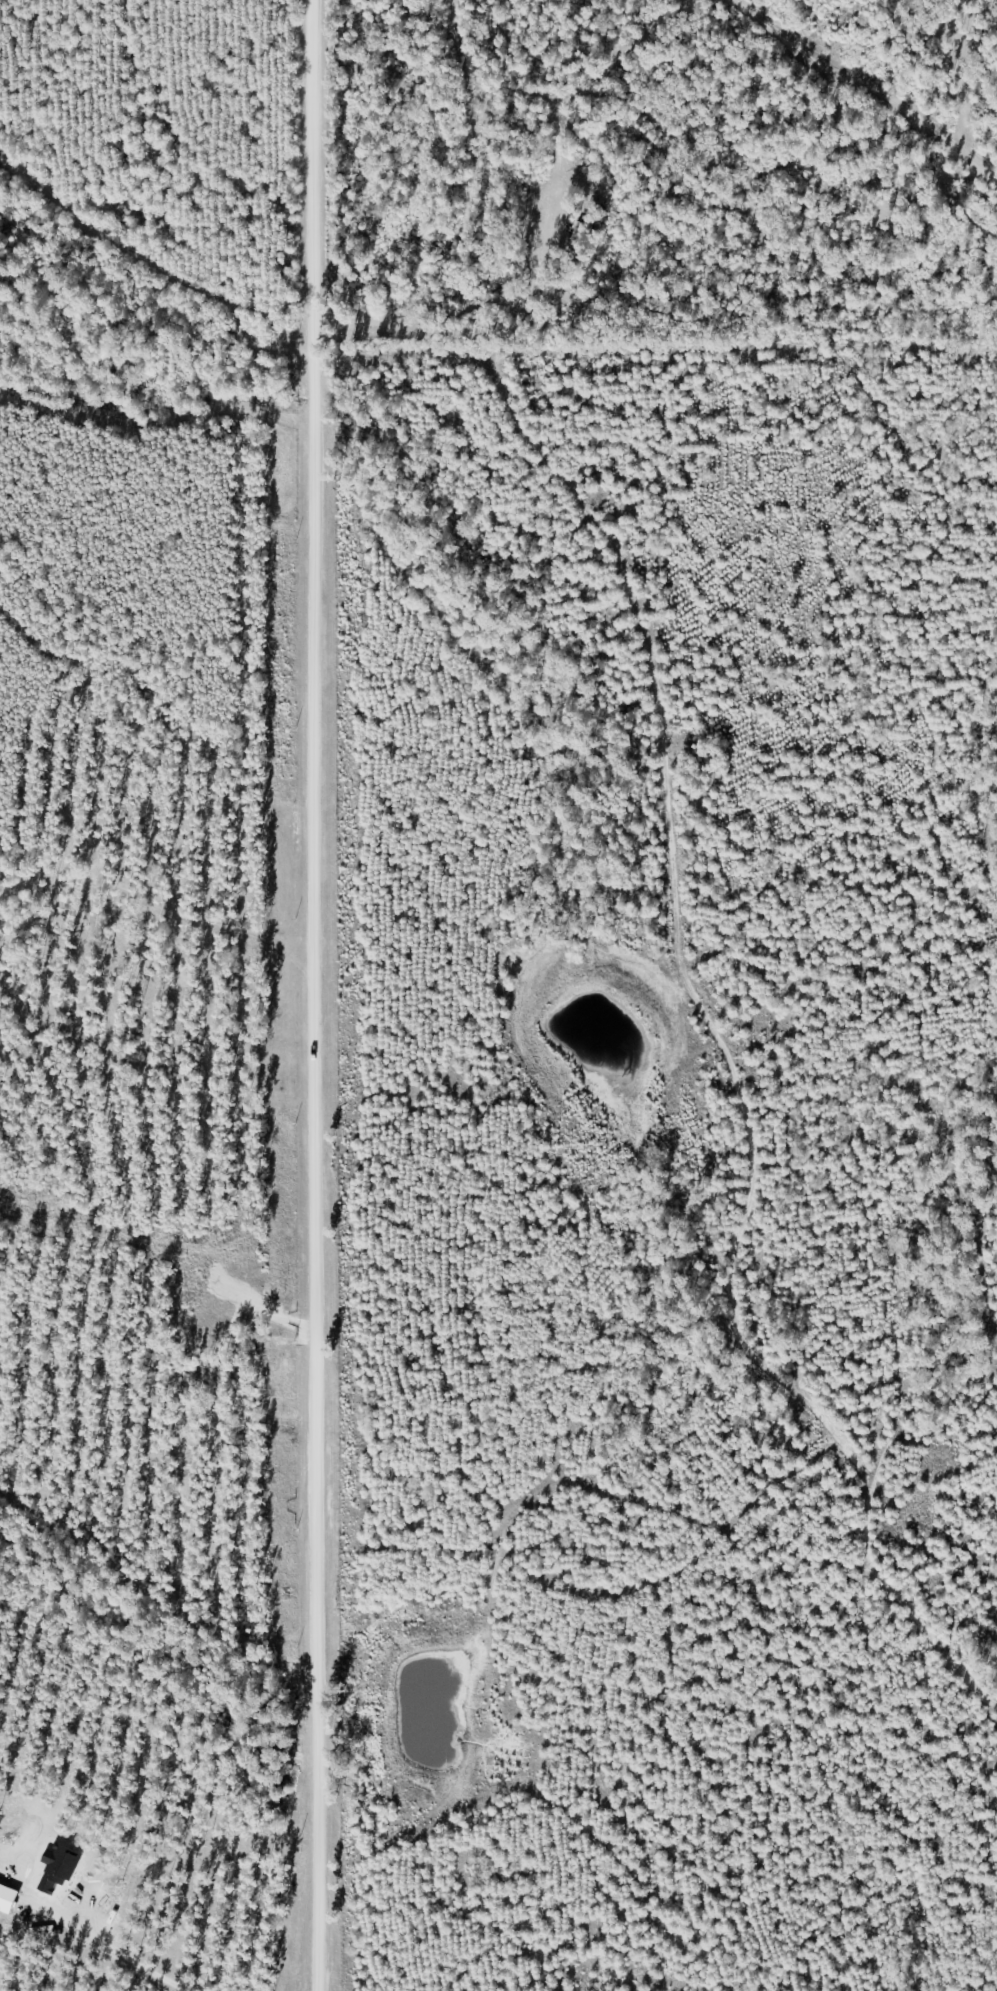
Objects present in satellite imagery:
building: (576, 232)
road: (308, 995)
road: (710, 1281)

